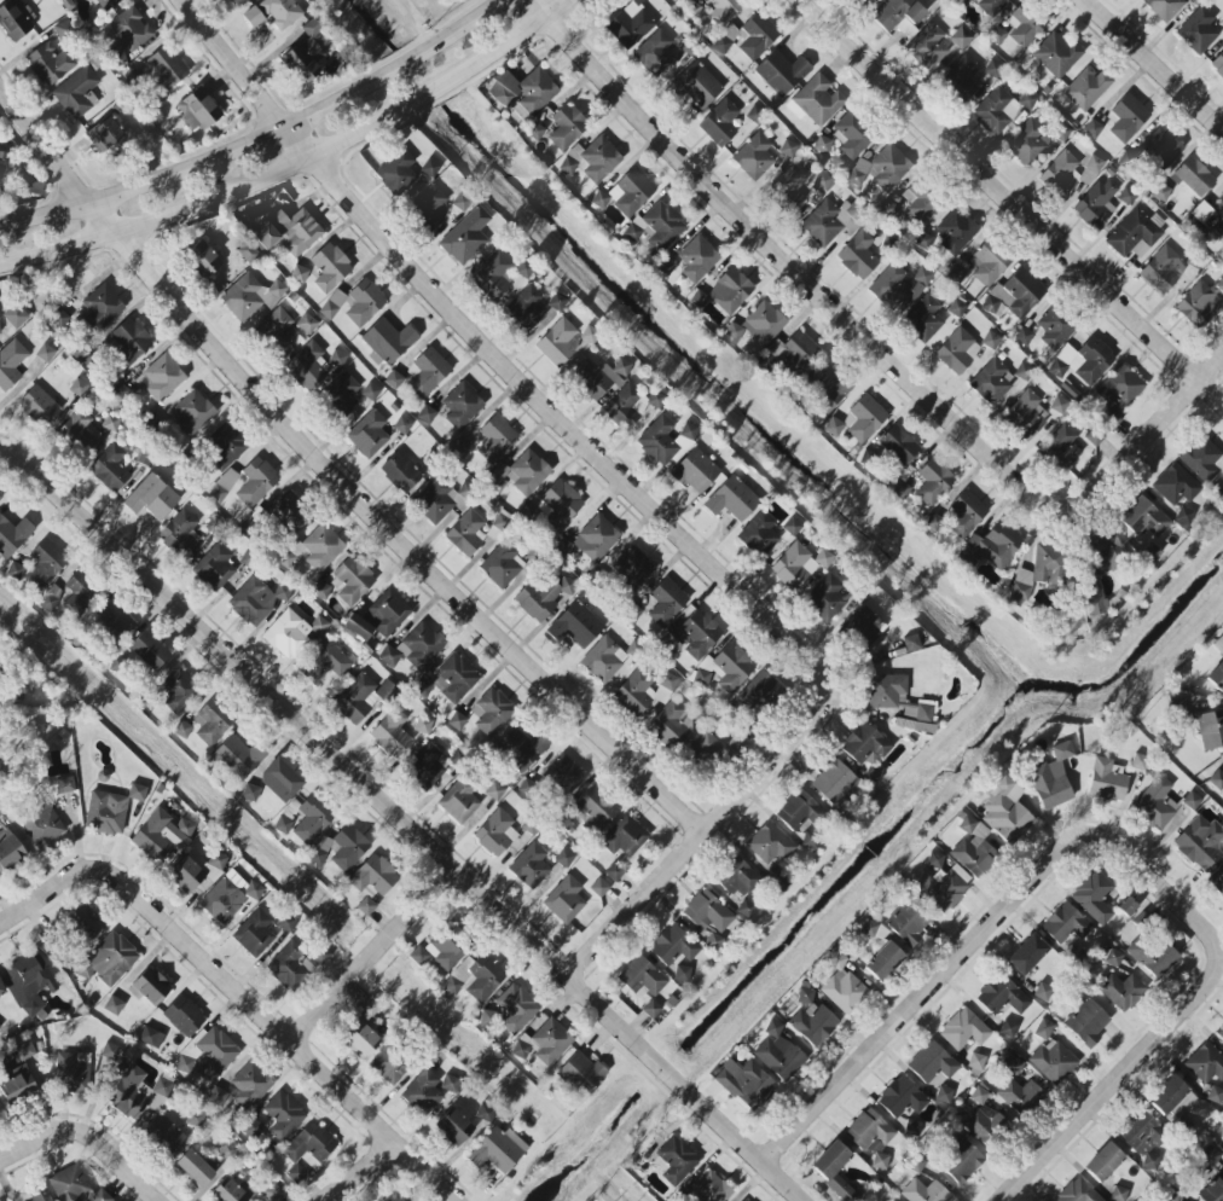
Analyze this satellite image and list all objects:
building: (238, 2)
building: (865, 2)
building: (108, 4)
building: (989, 6)
road: (541, 7)
road: (555, 7)
building: (1164, 7)
building: (723, 11)
building: (282, 12)
building: (899, 16)
building: (253, 17)
building: (15, 19)
building: (1222, 22)
building: (630, 24)
building: (1024, 25)
building: (129, 29)
building: (1198, 30)
building: (757, 35)
building: (961, 37)
building: (929, 47)
building: (307, 53)
building: (654, 53)
building: (1055, 57)
building: (50, 63)
building: (1218, 64)
road: (1153, 65)
building: (163, 70)
building: (782, 72)
building: (964, 76)
building: (696, 86)
building: (1088, 88)
building: (523, 92)
building: (77, 93)
building: (1027, 99)
building: (816, 101)
building: (197, 109)
building: (996, 110)
building: (1128, 117)
building: (719, 123)
building: (566, 127)
building: (1092, 128)
building: (1061, 133)
building: (105, 134)
road: (261, 137)
building: (851, 137)
building: (0, 144)
building: (1028, 144)
building: (823, 145)
building: (788, 147)
building: (1161, 149)
building: (754, 157)
building: (1128, 159)
building: (591, 161)
building: (1094, 164)
road: (286, 167)
building: (888, 167)
building: (429, 168)
building: (396, 172)
building: (1061, 175)
building: (1193, 176)
building: (822, 181)
building: (788, 190)
building: (630, 192)
building: (1160, 192)
building: (1126, 196)
building: (599, 199)
building: (462, 202)
road: (1016, 203)
building: (1096, 203)
building: (918, 204)
building: (428, 208)
building: (1216, 219)
building: (829, 222)
building: (656, 226)
building: (289, 231)
building: (955, 231)
building: (1135, 233)
building: (465, 237)
building: (925, 239)
building: (858, 256)
building: (697, 259)
building: (202, 260)
building: (989, 262)
building: (666, 266)
building: (330, 267)
building: (523, 269)
building: (1163, 269)
road: (793, 271)
building: (492, 277)
building: (898, 284)
building: (725, 292)
building: (1014, 295)
building: (250, 296)
building: (557, 302)
building: (1200, 302)
building: (357, 303)
building: (100, 307)
building: (956, 308)
building: (526, 309)
building: (16, 315)
building: (923, 318)
building: (758, 325)
building: (1054, 329)
building: (274, 330)
building: (990, 340)
building: (129, 341)
building: (388, 341)
building: (795, 349)
building: (957, 350)
building: (45, 353)
road: (492, 355)
building: (337, 359)
building: (1086, 360)
building: (11, 365)
building: (307, 366)
building: (427, 373)
building: (599, 377)
building: (161, 378)
building: (394, 379)
building: (992, 381)
building: (79, 387)
building: (1120, 387)
building: (823, 389)
building: (370, 391)
building: (340, 395)
building: (462, 405)
building: (1057, 405)
building: (39, 406)
building: (630, 406)
building: (192, 412)
building: (427, 414)
building: (1025, 416)
building: (859, 420)
building: (402, 425)
building: (80, 431)
building: (369, 434)
building: (495, 439)
road: (1142, 439)
building: (663, 441)
building: (899, 445)
building: (226, 447)
building: (1061, 447)
building: (1202, 460)
road: (344, 466)
building: (110, 469)
building: (695, 471)
building: (400, 472)
building: (527, 472)
building: (933, 482)
building: (245, 483)
building: (1176, 485)
building: (900, 488)
building: (0, 497)
building: (151, 498)
building: (732, 499)
building: (437, 500)
building: (558, 505)
building: (289, 511)
building: (966, 515)
building: (1184, 516)
building: (1144, 518)
building: (179, 533)
building: (466, 533)
building: (759, 534)
building: (13, 535)
building: (596, 538)
building: (991, 546)
building: (321, 547)
building: (562, 547)
building: (1105, 552)
building: (45, 563)
building: (502, 565)
building: (798, 565)
building: (214, 567)
building: (632, 568)
building: (16, 570)
building: (1037, 573)
building: (350, 581)
building: (79, 597)
building: (828, 597)
building: (543, 598)
building: (256, 600)
building: (666, 602)
building: (1094, 602)
building: (387, 613)
building: (115, 621)
building: (575, 625)
building: (863, 625)
building: (358, 627)
building: (288, 633)
building: (700, 634)
building: (1219, 645)
building: (415, 648)
building: (149, 650)
building: (603, 660)
building: (324, 663)
building: (725, 668)
building: (1216, 677)
building: (456, 678)
building: (422, 687)
building: (179, 690)
building: (644, 691)
building: (758, 692)
building: (357, 700)
building: (899, 702)
building: (491, 712)
building: (457, 721)
building: (213, 723)
building: (672, 724)
building: (424, 725)
building: (182, 730)
building: (1211, 730)
building: (393, 733)
building: (865, 743)
building: (521, 748)
building: (702, 748)
building: (236, 759)
building: (1140, 762)
building: (425, 766)
building: (563, 776)
building: (280, 779)
building: (1217, 779)
building: (1106, 781)
building: (834, 783)
building: (65, 784)
building: (1050, 785)
building: (494, 791)
building: (250, 793)
building: (1192, 801)
building: (459, 802)
building: (1155, 803)
building: (110, 810)
building: (593, 811)
building: (1005, 812)
building: (799, 813)
road: (404, 818)
building: (41, 824)
road: (707, 829)
building: (495, 832)
building: (162, 835)
building: (624, 837)
building: (1201, 842)
building: (767, 843)
building: (973, 851)
building: (10, 853)
building: (564, 858)
building: (529, 866)
building: (196, 870)
building: (614, 871)
building: (373, 875)
building: (777, 878)
building: (1216, 878)
building: (741, 880)
building: (943, 882)
building: (599, 888)
road: (47, 893)
building: (228, 897)
building: (1092, 899)
building: (564, 900)
building: (367, 901)
road: (423, 904)
building: (1126, 907)
building: (746, 909)
building: (707, 912)
building: (85, 922)
building: (906, 922)
building: (1066, 924)
building: (869, 928)
building: (254, 933)
building: (673, 946)
building: (445, 951)
building: (1026, 955)
building: (1111, 956)
building: (320, 957)
building: (1153, 958)
building: (109, 961)
building: (883, 961)
building: (286, 965)
building: (642, 976)
building: (475, 979)
building: (29, 981)
building: (150, 987)
building: (842, 987)
building: (1, 991)
road: (340, 991)
building: (1042, 991)
building: (1121, 991)
road: (922, 996)
building: (1002, 996)
building: (114, 1005)
building: (516, 1009)
road: (1172, 1009)
building: (184, 1016)
building: (1088, 1022)
building: (813, 1023)
building: (1008, 1028)
building: (963, 1029)
building: (1043, 1029)
building: (363, 1031)
road: (282, 1032)
building: (1219, 1033)
building: (151, 1037)
building: (545, 1040)
building: (24, 1050)
building: (110, 1051)
building: (778, 1052)
building: (208, 1055)
building: (1053, 1061)
building: (1205, 1063)
building: (932, 1064)
building: (1013, 1064)
building: (388, 1067)
building: (71, 1072)
building: (581, 1073)
building: (742, 1078)
building: (18, 1083)
building: (248, 1085)
building: (428, 1091)
building: (129, 1093)
building: (944, 1095)
building: (1215, 1095)
building: (216, 1096)
building: (1019, 1096)
building: (902, 1097)
building: (980, 1097)
building: (1172, 1098)
building: (486, 1113)
building: (283, 1115)
building: (983, 1122)
building: (911, 1127)
building: (251, 1129)
building: (454, 1129)
building: (869, 1131)
building: (164, 1133)
road: (40, 1138)
building: (1143, 1138)
building: (308, 1150)
building: (498, 1150)
building: (674, 1160)
building: (880, 1161)
building: (961, 1162)
building: (1103, 1162)
road: (117, 1167)
building: (193, 1168)
building: (833, 1170)
road: (361, 1172)
building: (709, 1189)
building: (1213, 1189)
building: (231, 1191)
building: (272, 1191)
building: (925, 1191)
building: (1078, 1191)
building: (1119, 1194)
building: (40, 1195)
building: (392, 1199)
building: (742, 1200)
building: (891, 1200)

